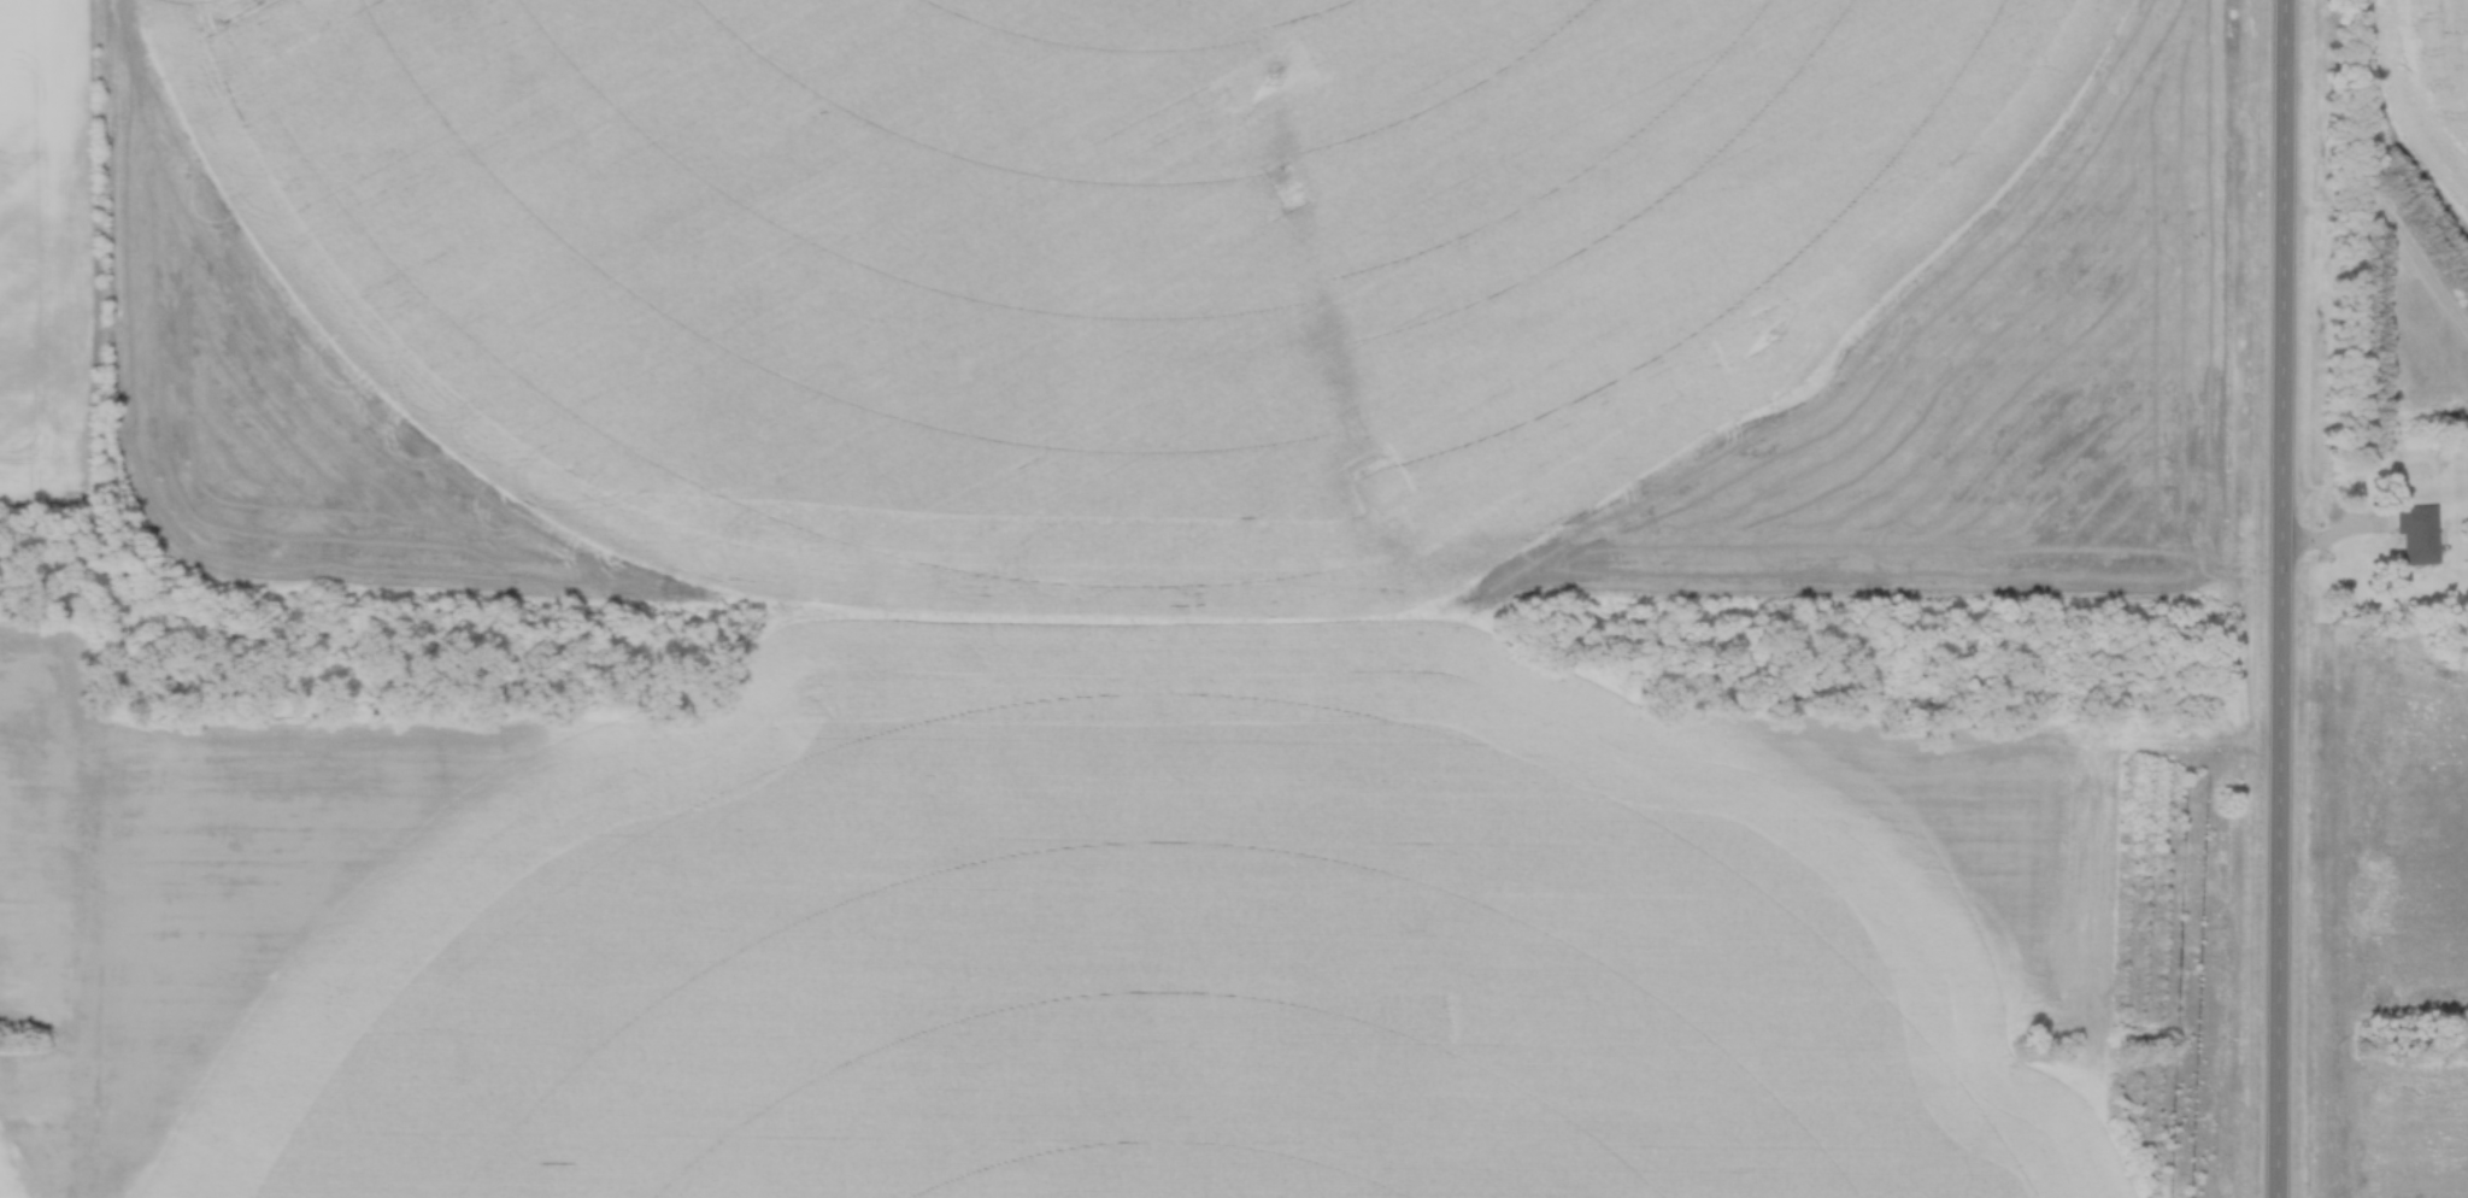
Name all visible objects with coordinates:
building: (2415, 536)
road: (2281, 598)

